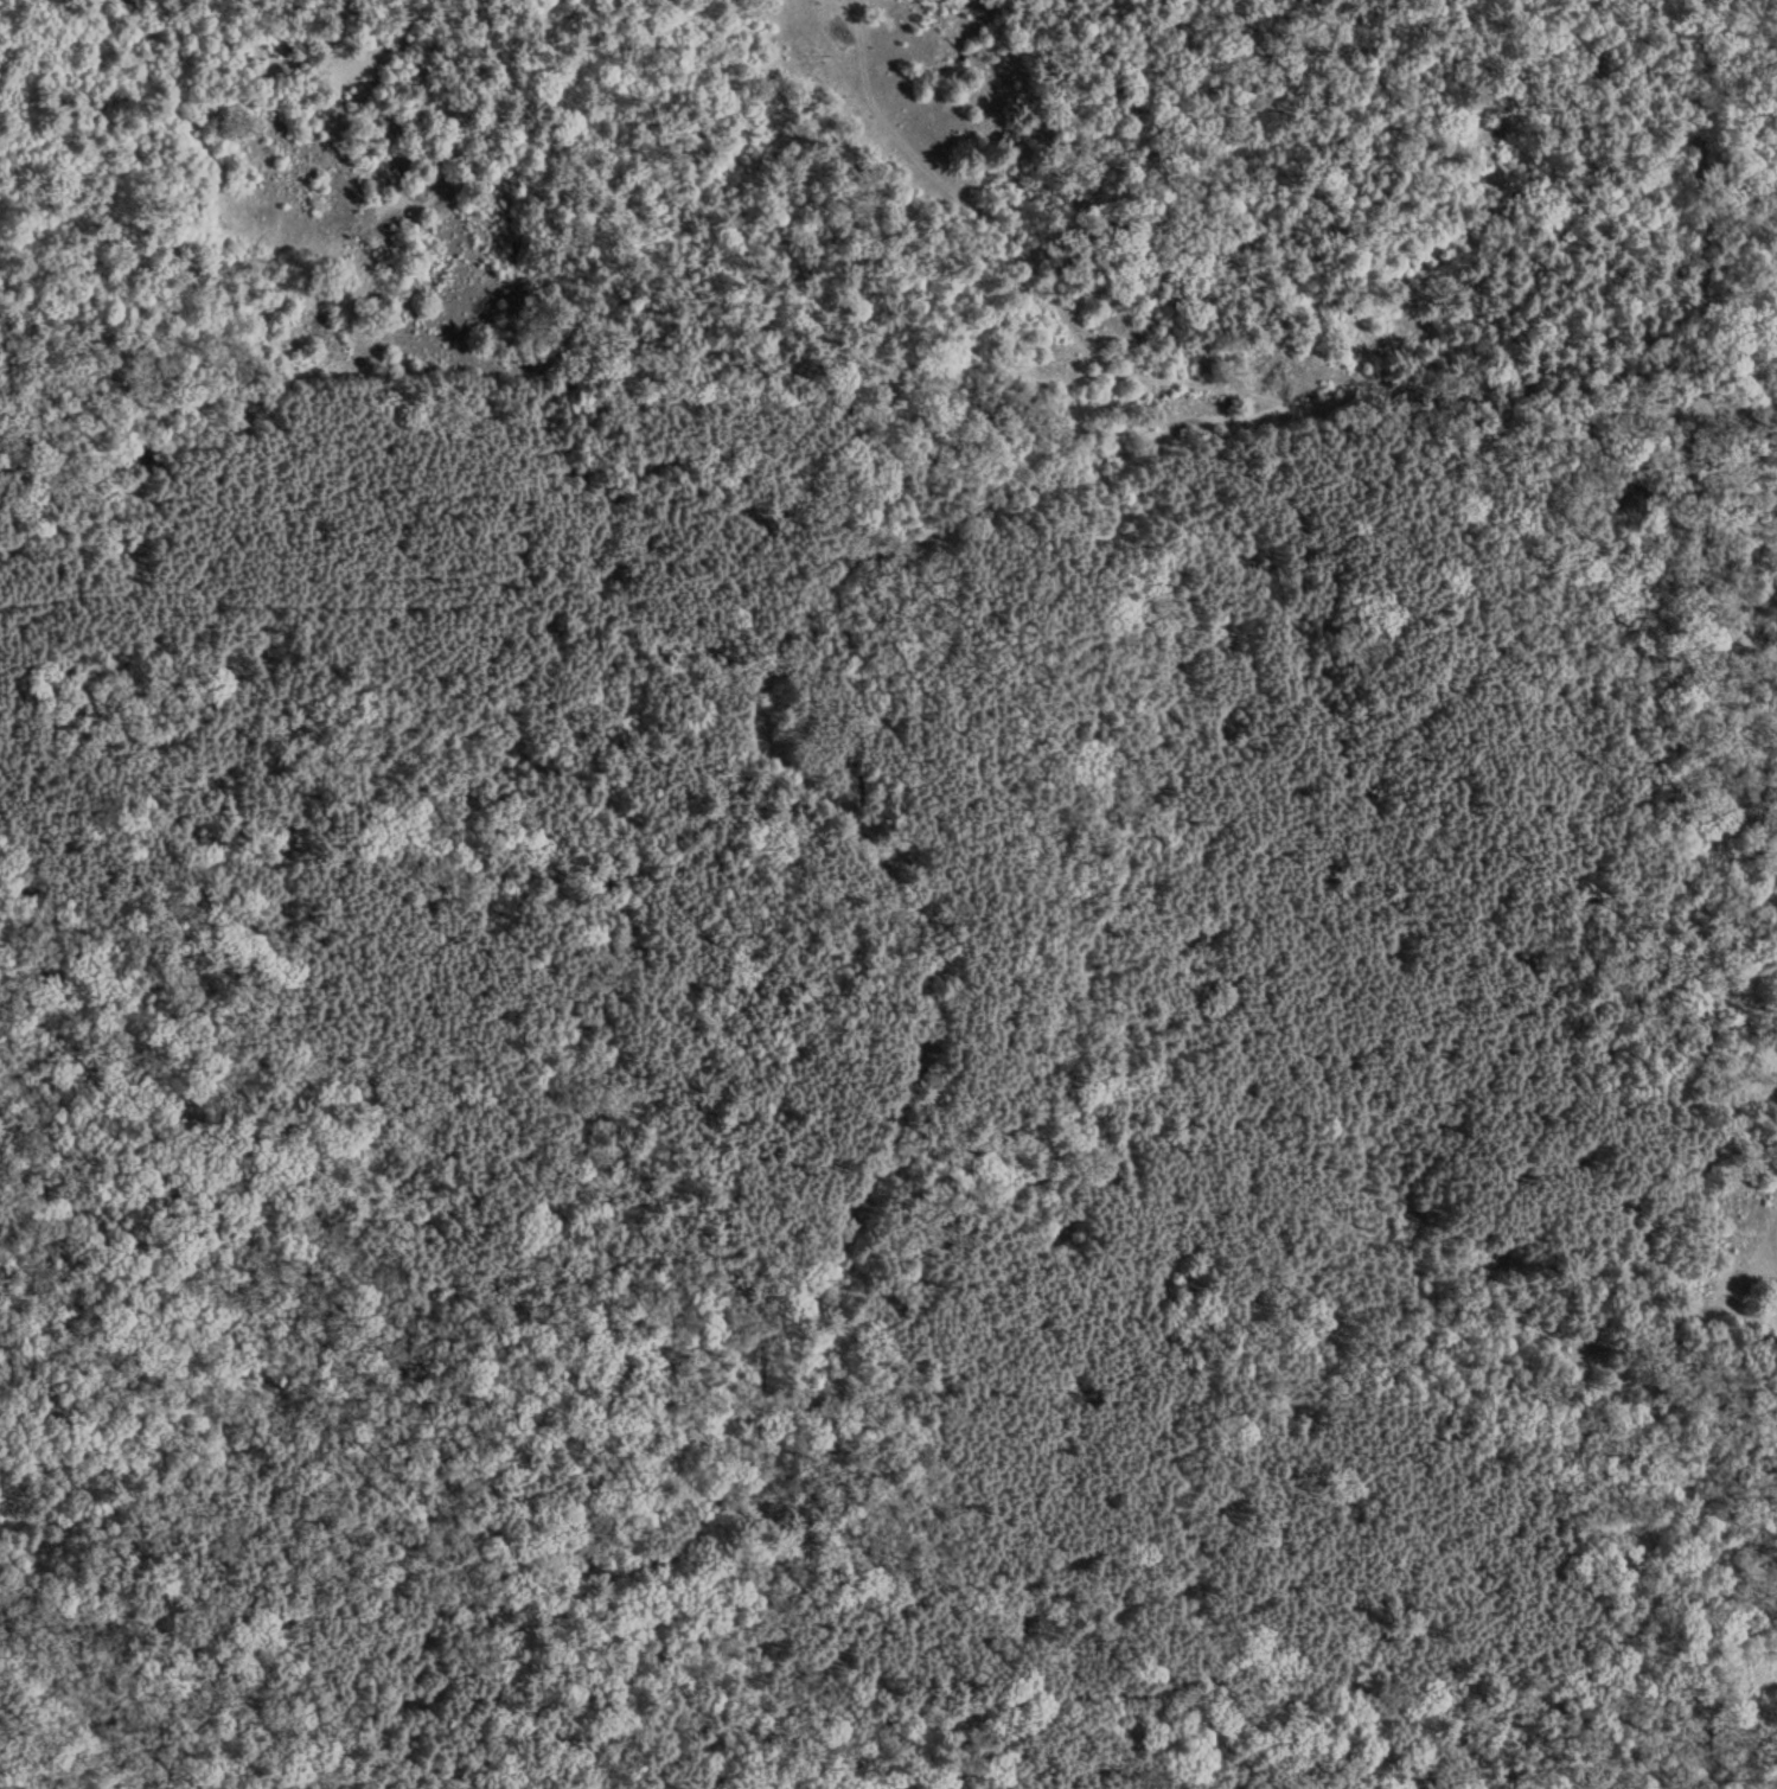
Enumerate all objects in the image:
road: (1677, 354)
road: (1726, 383)
road: (1709, 1666)

